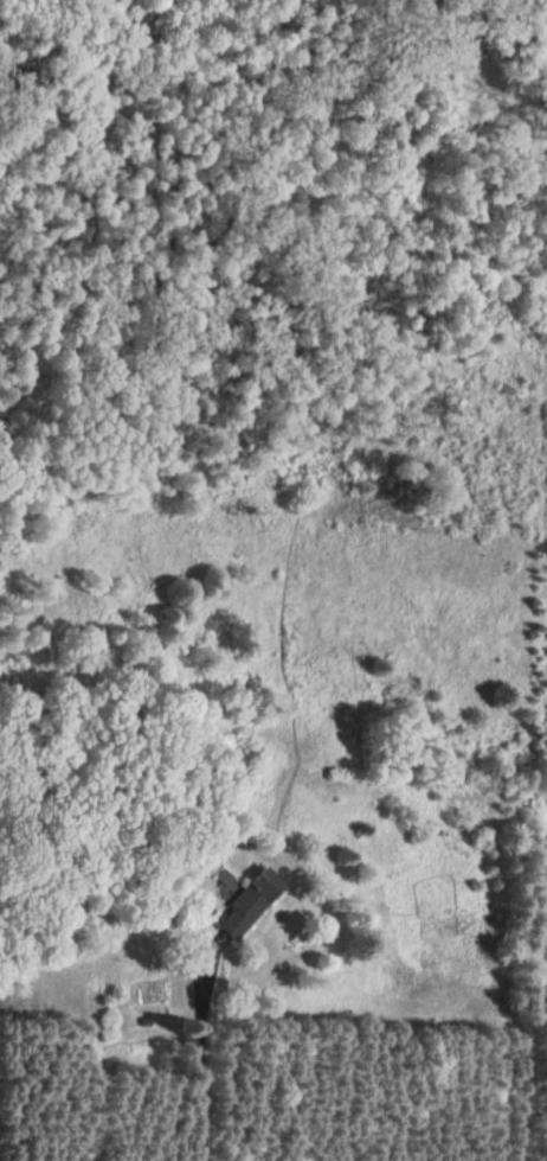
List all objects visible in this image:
building: (258, 904)

